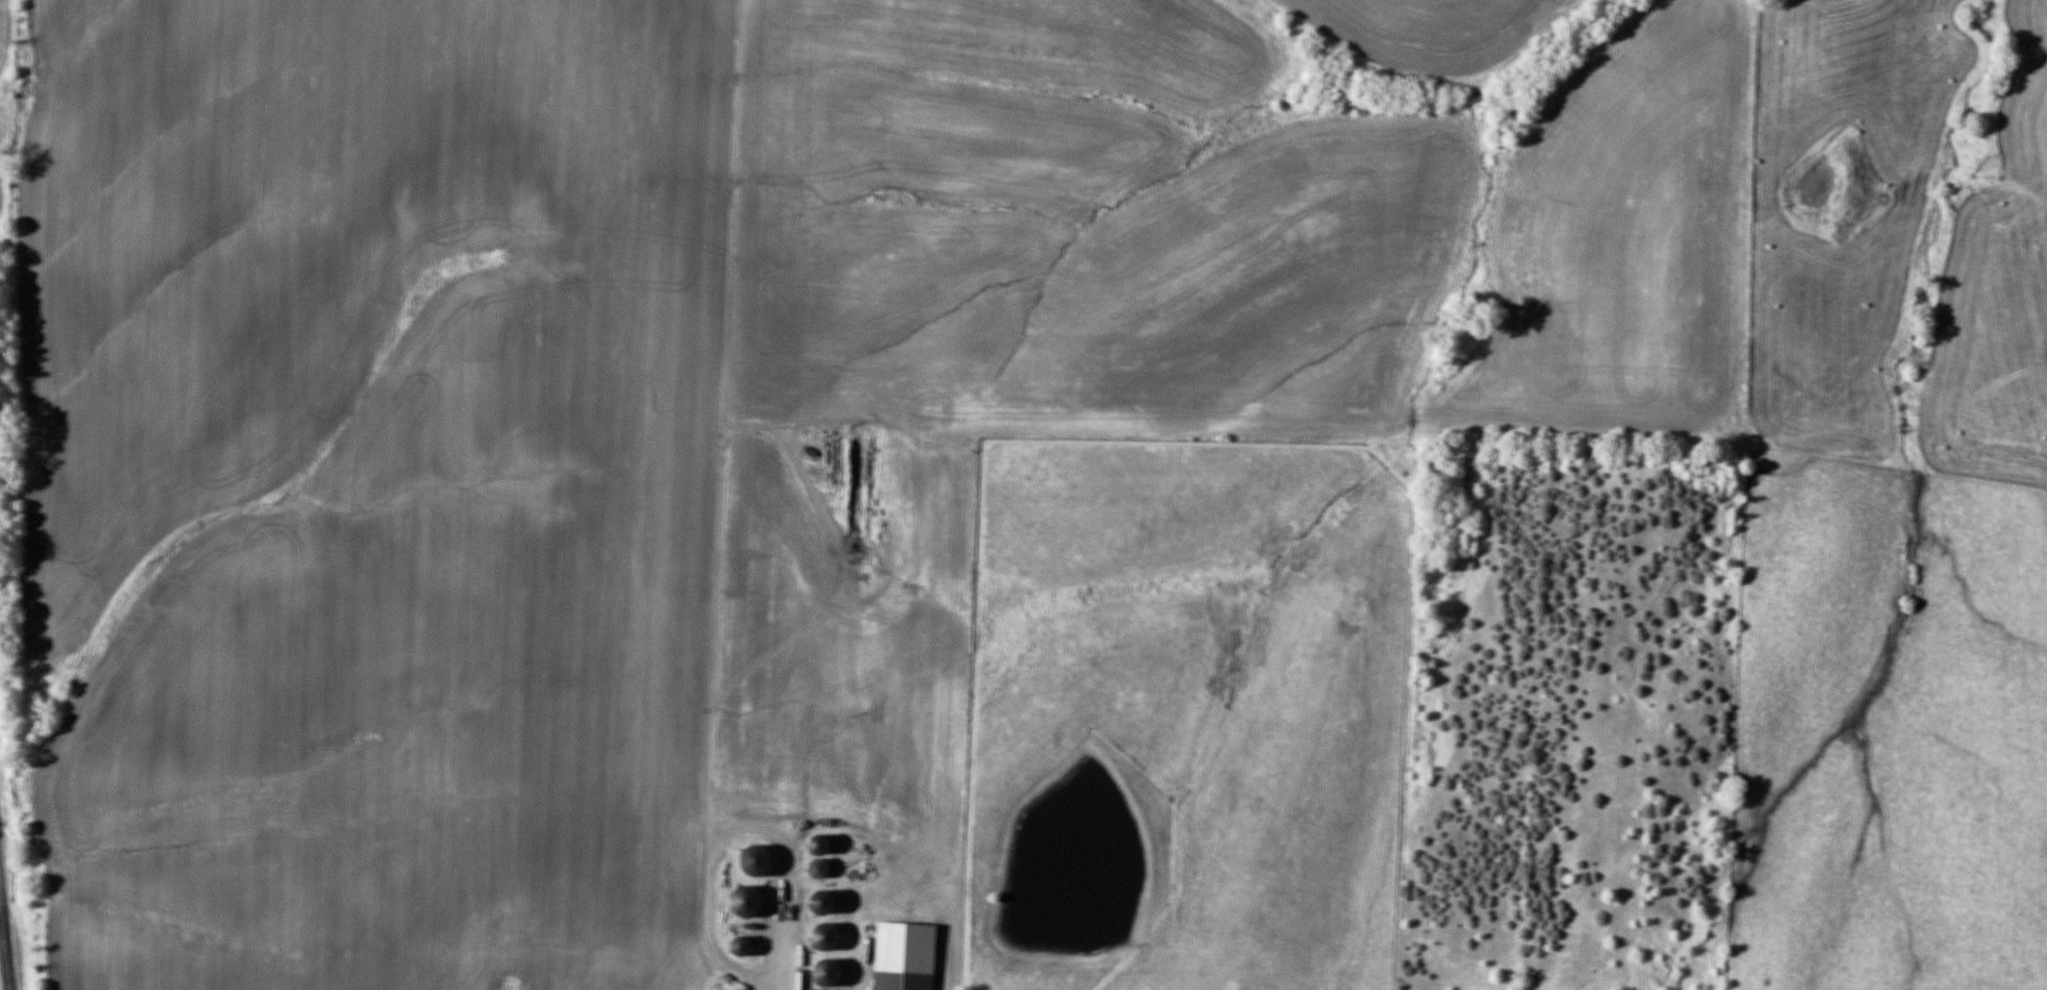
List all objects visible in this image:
building: (760, 860)
building: (822, 867)
building: (825, 900)
building: (749, 902)
building: (828, 937)
building: (744, 945)
road: (5, 950)
building: (904, 979)

